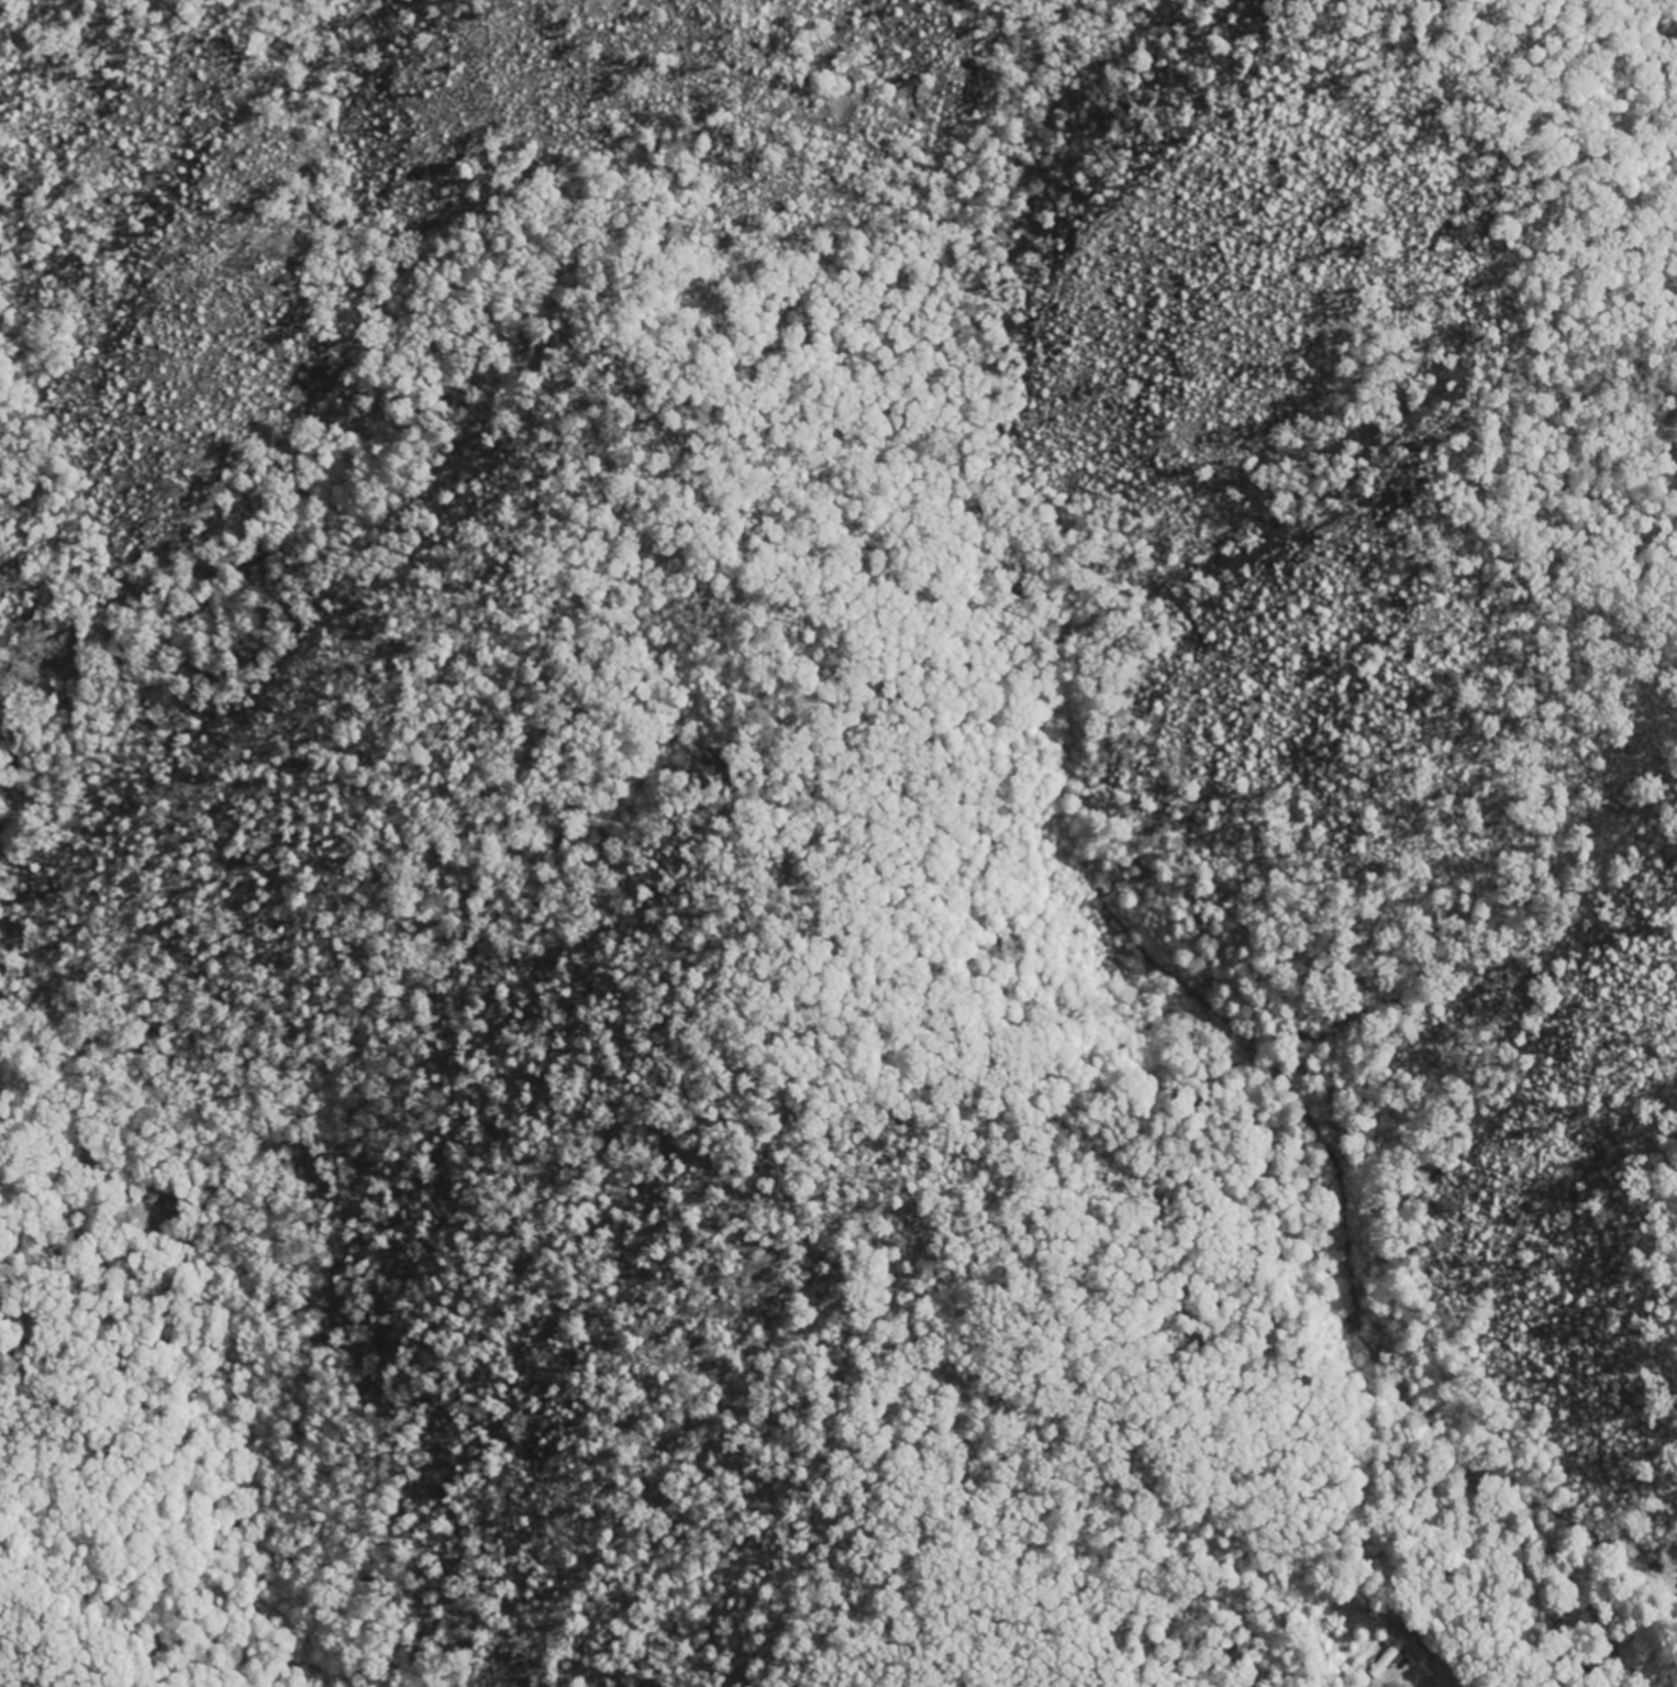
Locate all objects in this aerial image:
road: (1356, 1323)
building: (1388, 1654)

